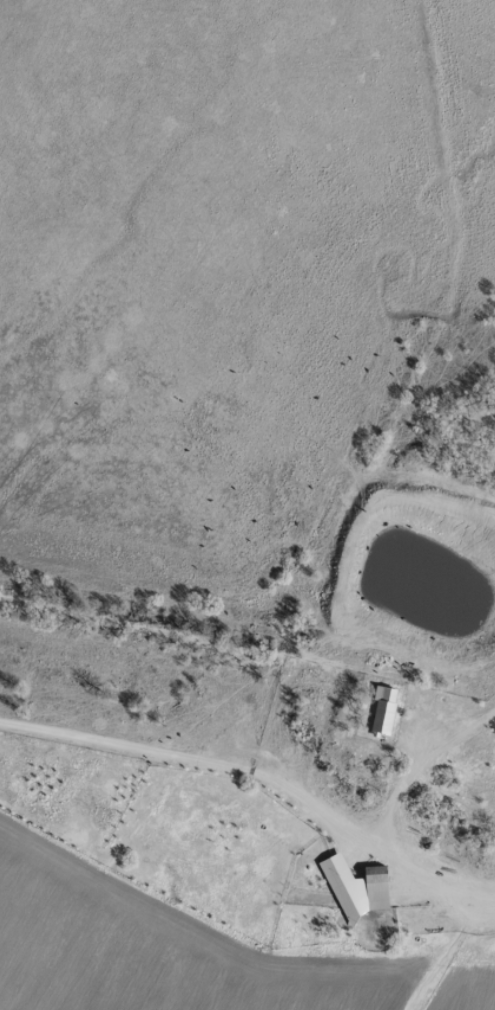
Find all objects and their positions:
building: (383, 709)
building: (375, 886)

